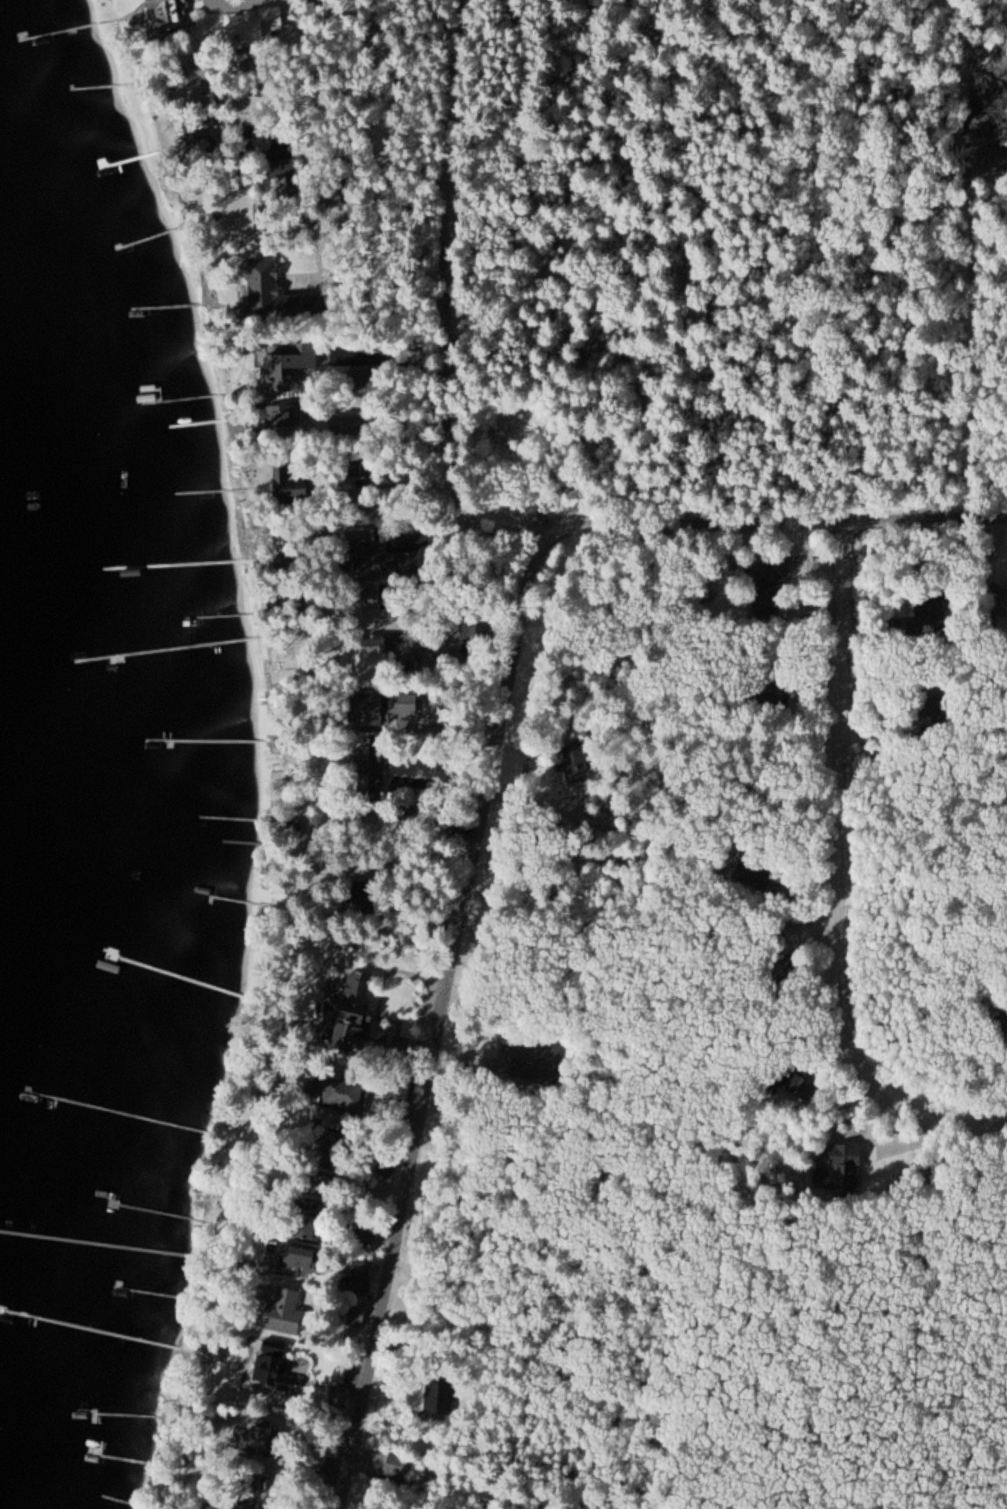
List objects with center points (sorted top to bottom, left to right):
building: (169, 15)
building: (195, 84)
building: (198, 134)
road: (326, 268)
road: (469, 285)
building: (272, 293)
road: (270, 301)
building: (290, 366)
building: (285, 416)
building: (289, 478)
road: (776, 522)
road: (285, 535)
road: (341, 535)
road: (463, 539)
building: (768, 583)
building: (1003, 598)
building: (931, 613)
building: (373, 653)
building: (771, 699)
building: (372, 769)
building: (755, 873)
road: (836, 879)
building: (364, 906)
building: (355, 1012)
road: (444, 1023)
building: (536, 1062)
building: (346, 1093)
building: (842, 1170)
building: (365, 1231)
building: (297, 1260)
building: (360, 1277)
building: (284, 1311)
building: (357, 1317)
building: (279, 1377)
building: (265, 1438)
building: (400, 1466)
building: (324, 1479)

